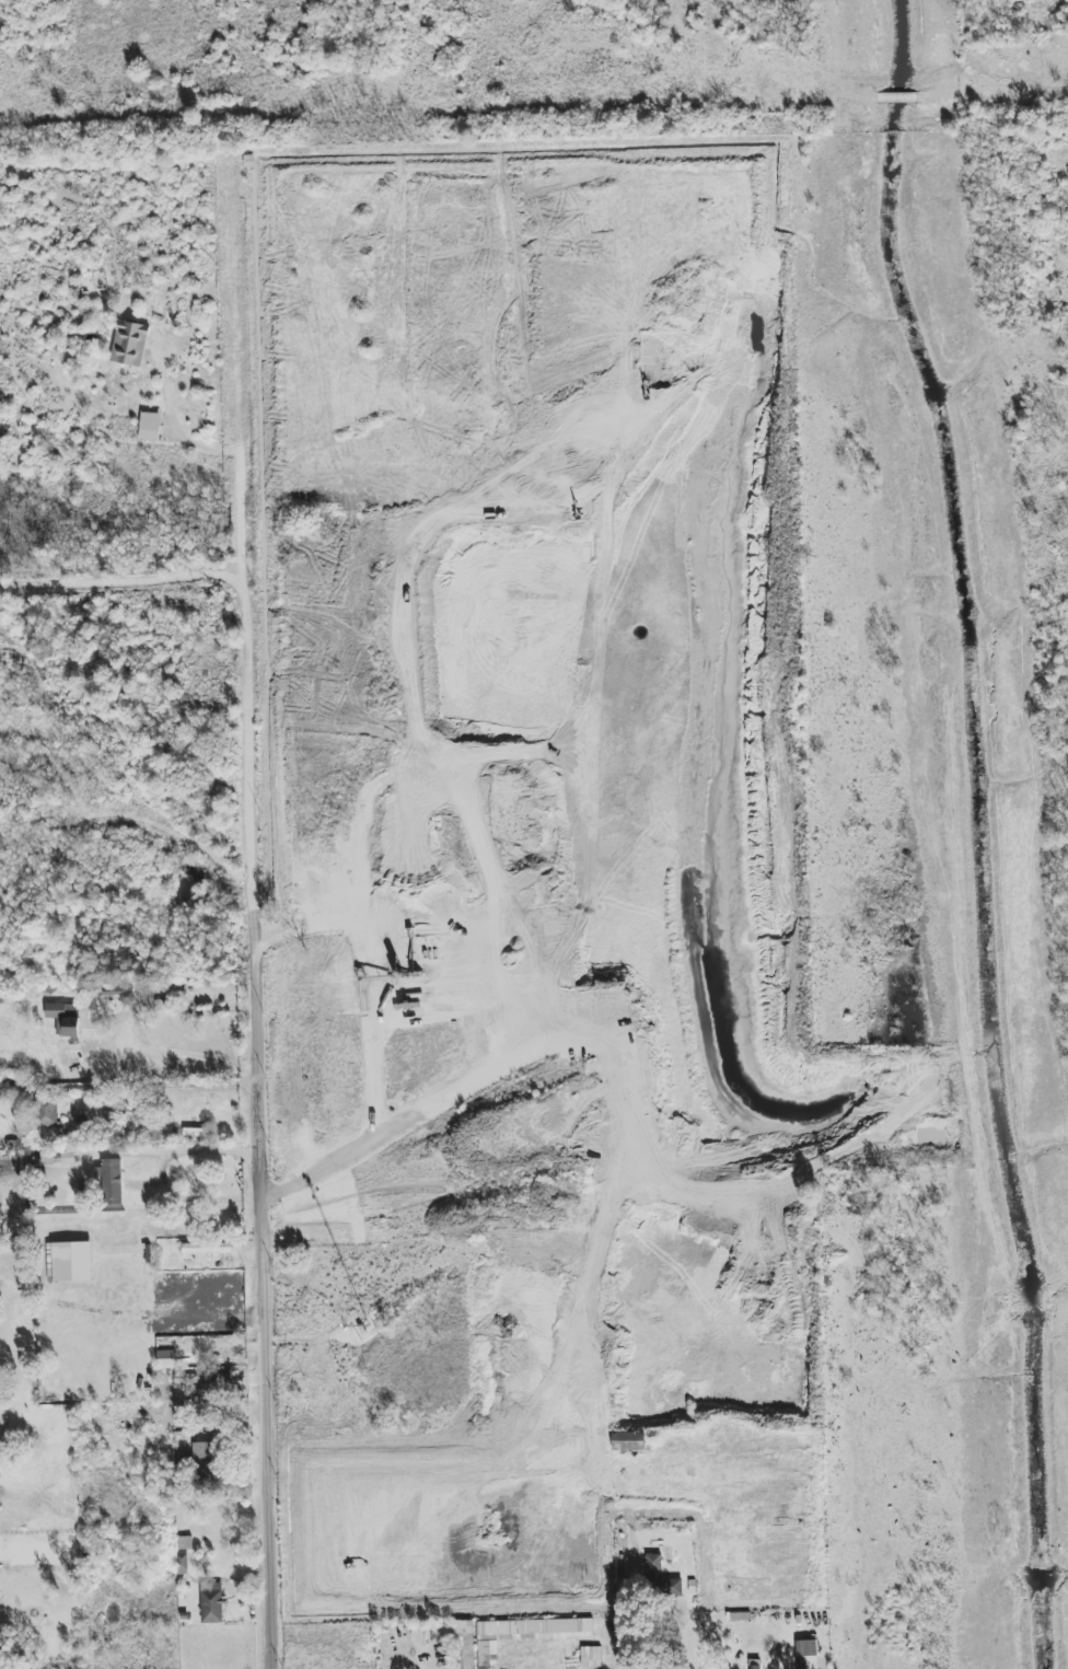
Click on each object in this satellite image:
road: (894, 97)
building: (129, 343)
road: (169, 401)
building: (150, 427)
road: (121, 581)
road: (253, 915)
road: (127, 984)
building: (119, 992)
building: (65, 1018)
road: (125, 1031)
road: (173, 1085)
building: (51, 1111)
road: (414, 1128)
road: (125, 1152)
building: (113, 1181)
road: (193, 1197)
building: (207, 1248)
building: (70, 1262)
road: (1031, 1319)
building: (628, 1342)
building: (166, 1359)
building: (628, 1441)
building: (204, 1462)
building: (69, 1532)
road: (102, 1538)
building: (182, 1562)
building: (654, 1562)
road: (624, 1574)
building: (672, 1587)
building: (212, 1602)
building: (507, 1627)
building: (464, 1644)
building: (805, 1651)
building: (591, 1653)
road: (393, 1655)

